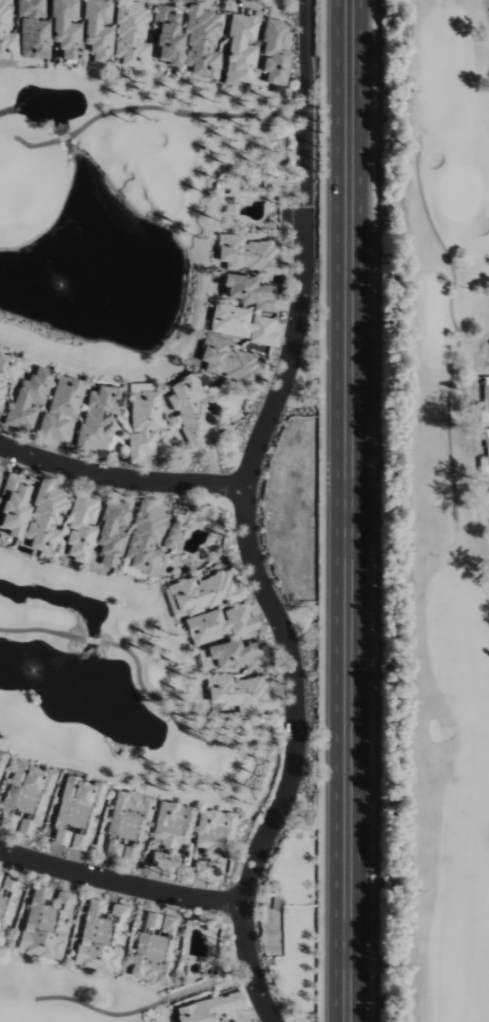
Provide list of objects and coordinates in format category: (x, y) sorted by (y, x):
building: (96, 29)
building: (31, 30)
building: (63, 30)
building: (6, 34)
building: (129, 35)
building: (165, 36)
building: (200, 43)
building: (239, 49)
building: (274, 54)
road: (186, 112)
road: (64, 136)
road: (34, 144)
park: (115, 210)
building: (247, 254)
fountain: (60, 285)
building: (247, 292)
building: (241, 325)
building: (227, 360)
building: (6, 371)
building: (485, 395)
building: (24, 399)
building: (57, 409)
building: (187, 411)
building: (95, 418)
building: (140, 424)
building: (484, 455)
road: (120, 478)
building: (488, 487)
building: (10, 505)
road: (351, 511)
park: (432, 517)
building: (43, 519)
road: (245, 519)
building: (78, 527)
building: (109, 532)
building: (169, 536)
building: (143, 539)
building: (203, 593)
building: (217, 625)
road: (40, 629)
road: (91, 640)
building: (232, 656)
park: (115, 689)
building: (238, 694)
road: (235, 741)
building: (1, 758)
building: (24, 796)
building: (73, 814)
building: (123, 824)
building: (170, 824)
building: (212, 832)
building: (161, 862)
building: (207, 870)
road: (120, 878)
building: (6, 902)
building: (44, 924)
building: (100, 937)
building: (151, 950)
park: (73, 996)
building: (207, 1008)
building: (222, 1021)

